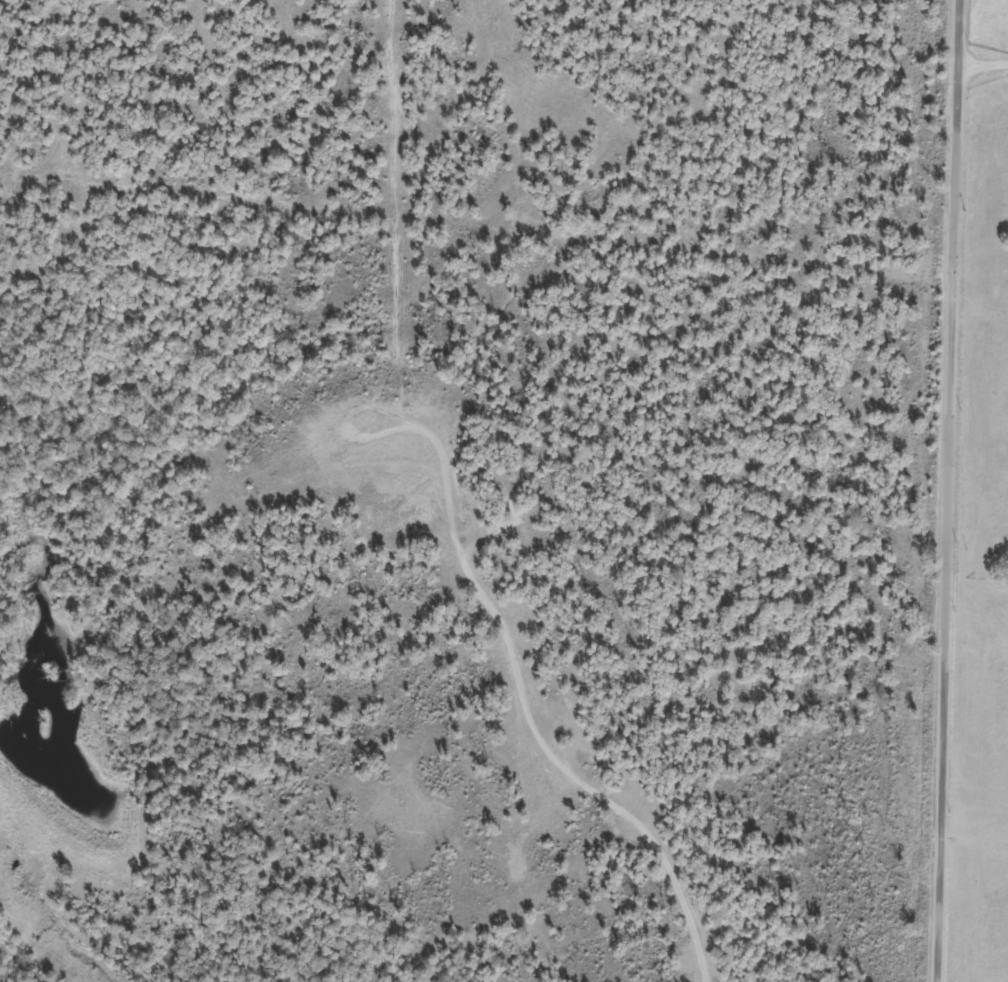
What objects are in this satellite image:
road: (991, 67)
road: (957, 490)

